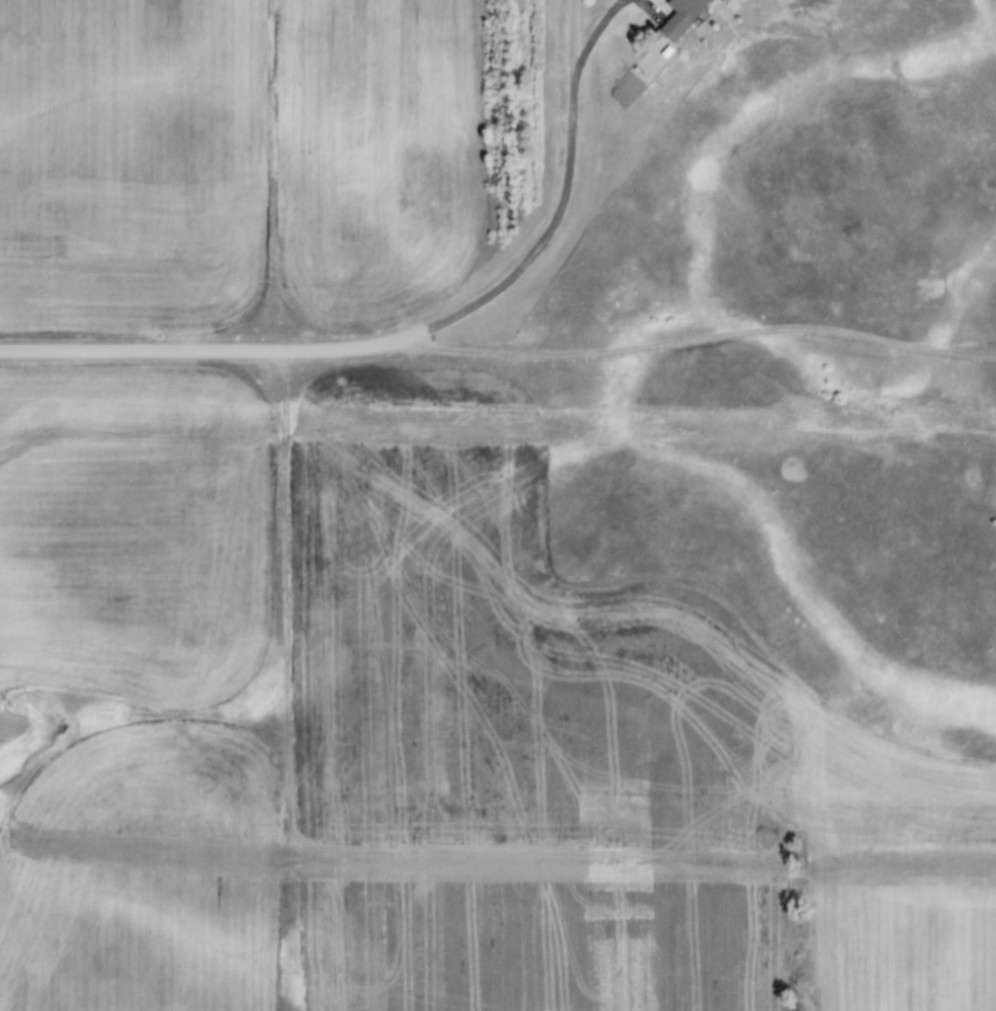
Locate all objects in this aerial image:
building: (689, 18)
road: (573, 40)
road: (564, 189)
road: (681, 348)
road: (217, 350)

